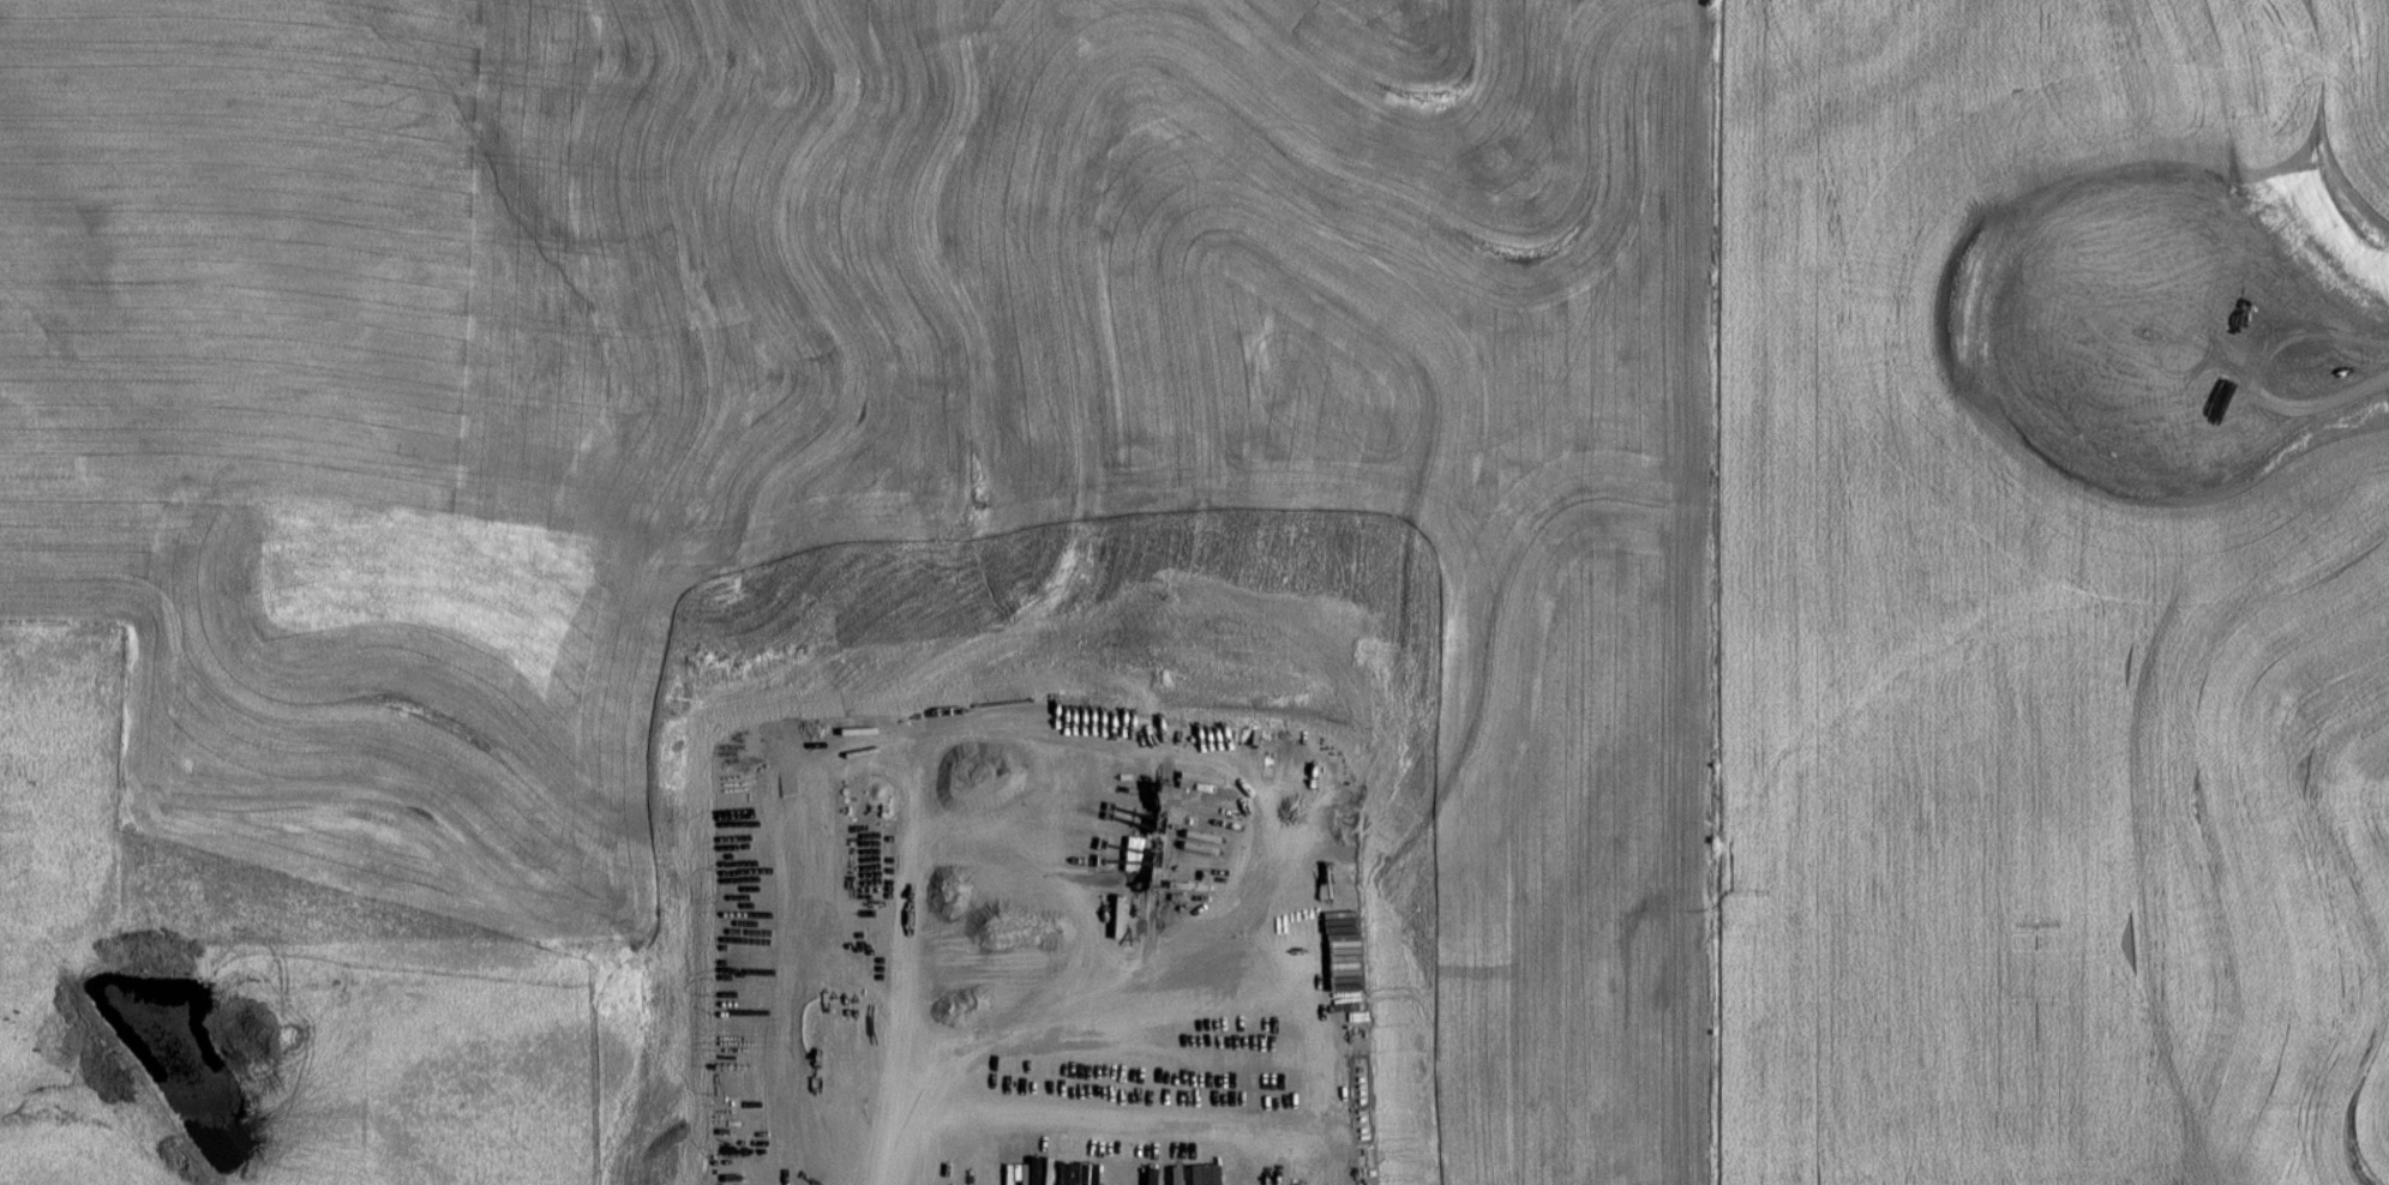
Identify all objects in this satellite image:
wind turbine: (2150, 329)

